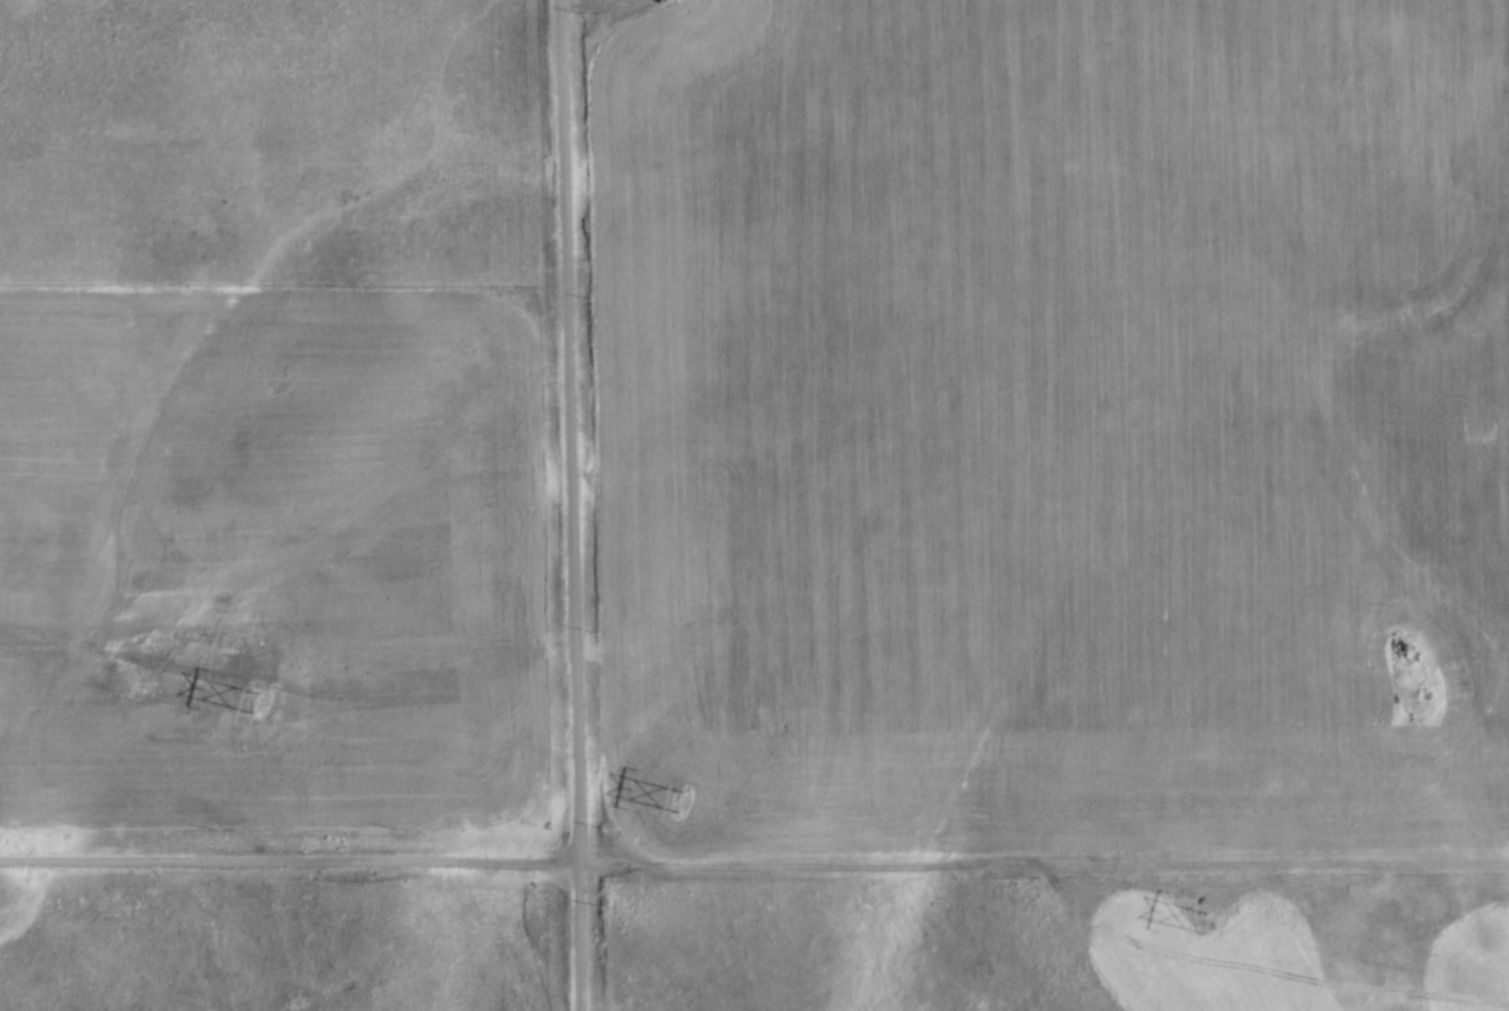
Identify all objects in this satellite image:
road: (568, 430)
road: (288, 863)
road: (578, 935)

